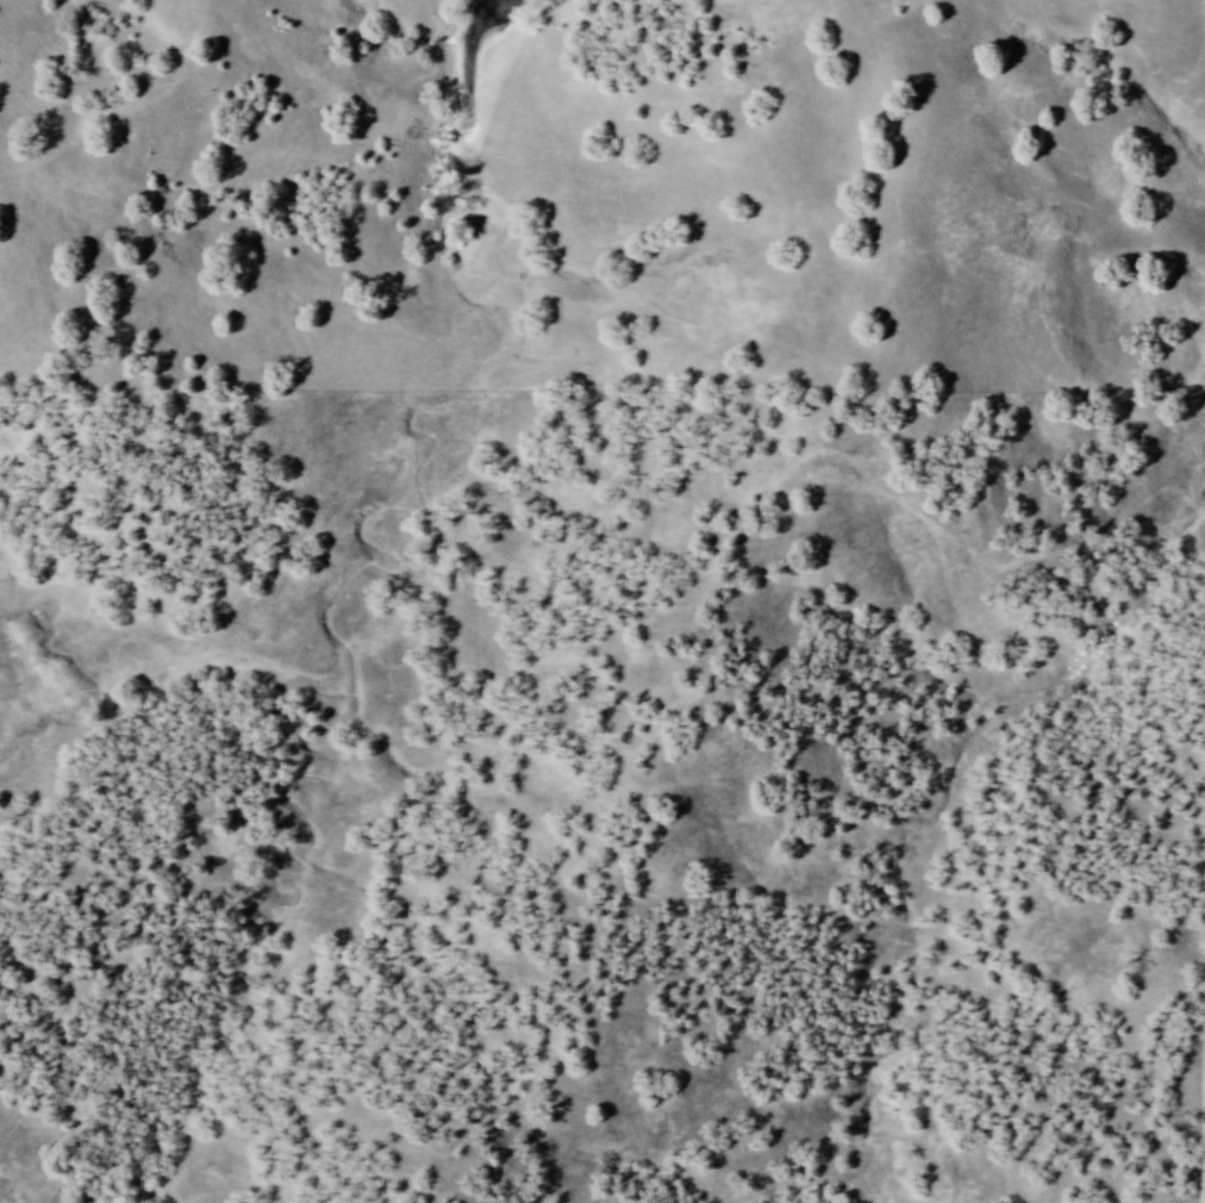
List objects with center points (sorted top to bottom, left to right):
road: (1203, 1115)

